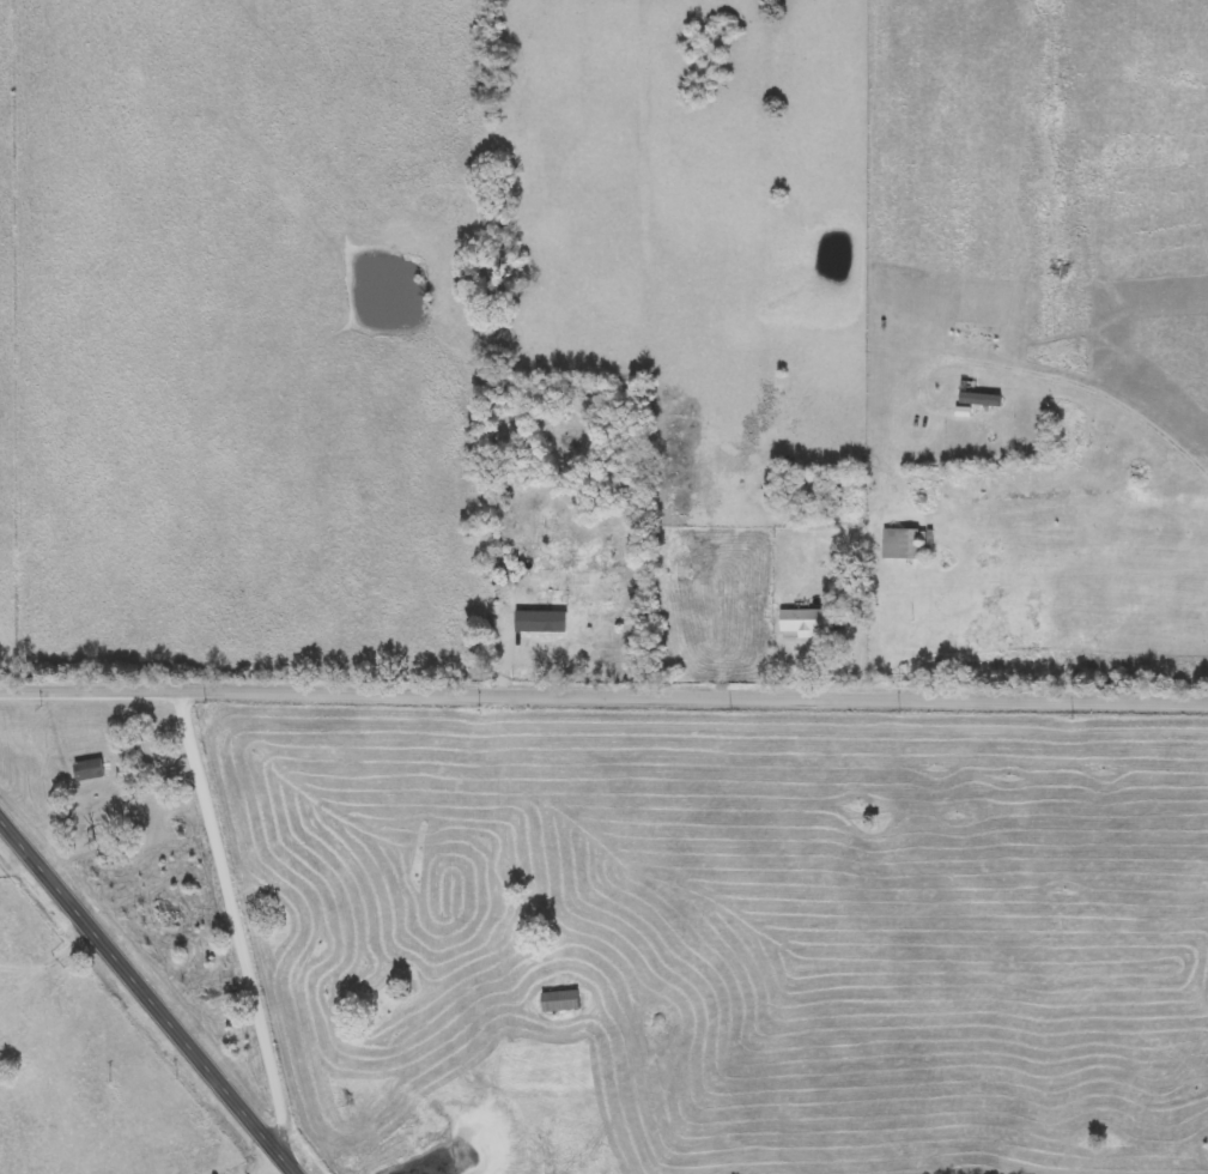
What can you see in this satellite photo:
road: (1057, 375)
building: (906, 544)
building: (806, 624)
road: (860, 624)
road: (603, 689)
building: (90, 770)
road: (238, 922)
road: (57, 958)
road: (156, 988)
building: (561, 1001)

